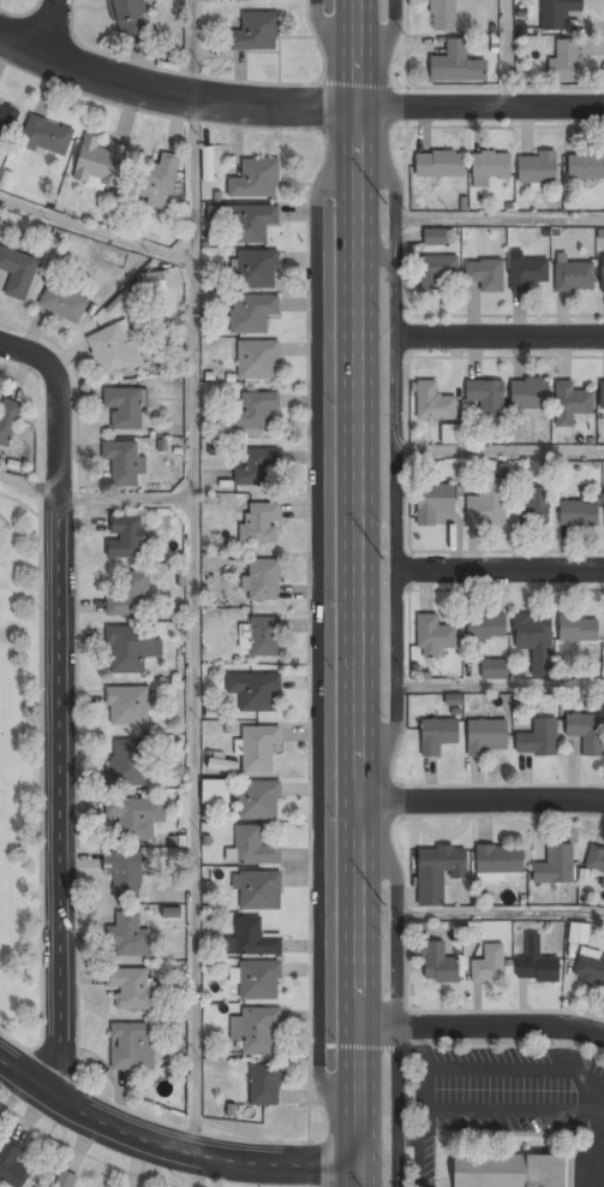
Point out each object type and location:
building: (558, 12)
building: (443, 16)
building: (130, 17)
road: (48, 26)
building: (256, 32)
road: (325, 32)
road: (388, 38)
road: (193, 49)
road: (507, 53)
building: (566, 60)
building: (456, 64)
road: (173, 94)
road: (480, 107)
building: (6, 121)
building: (47, 136)
building: (100, 161)
building: (441, 165)
building: (491, 165)
building: (586, 166)
building: (537, 170)
building: (160, 174)
building: (255, 179)
power tower: (387, 196)
road: (480, 219)
building: (245, 220)
road: (96, 231)
building: (437, 237)
building: (256, 269)
building: (18, 271)
building: (437, 271)
building: (526, 272)
building: (602, 273)
building: (485, 274)
building: (574, 277)
building: (154, 280)
building: (64, 302)
building: (252, 313)
road: (501, 337)
building: (115, 349)
building: (257, 361)
building: (530, 394)
building: (602, 394)
building: (486, 398)
building: (433, 403)
building: (572, 403)
building: (125, 405)
building: (255, 409)
building: (8, 420)
building: (450, 433)
road: (501, 451)
building: (124, 461)
building: (257, 468)
road: (28, 482)
road: (399, 499)
road: (126, 500)
building: (433, 501)
building: (488, 504)
building: (534, 506)
building: (578, 514)
building: (261, 523)
building: (125, 536)
power tower: (384, 544)
road: (501, 569)
building: (262, 580)
road: (358, 593)
building: (130, 597)
road: (196, 625)
building: (486, 627)
building: (579, 629)
road: (317, 635)
building: (262, 636)
building: (433, 636)
building: (534, 641)
building: (131, 648)
building: (495, 670)
road: (501, 686)
building: (259, 693)
road: (56, 701)
building: (127, 707)
building: (587, 732)
building: (437, 736)
building: (485, 736)
building: (537, 737)
building: (258, 749)
building: (126, 762)
park: (23, 765)
building: (215, 790)
building: (261, 800)
road: (480, 800)
building: (136, 817)
building: (252, 848)
building: (501, 860)
building: (596, 861)
building: (556, 865)
building: (438, 872)
building: (124, 874)
building: (259, 890)
power tower: (385, 890)
road: (501, 910)
building: (171, 912)
building: (578, 932)
building: (128, 936)
building: (253, 938)
building: (437, 962)
building: (537, 963)
building: (489, 965)
building: (591, 971)
building: (257, 979)
building: (131, 987)
road: (396, 1003)
road: (482, 1027)
building: (257, 1031)
building: (131, 1046)
building: (265, 1086)
road: (16, 1096)
road: (167, 1146)
building: (12, 1164)
building: (508, 1170)
building: (66, 1179)

